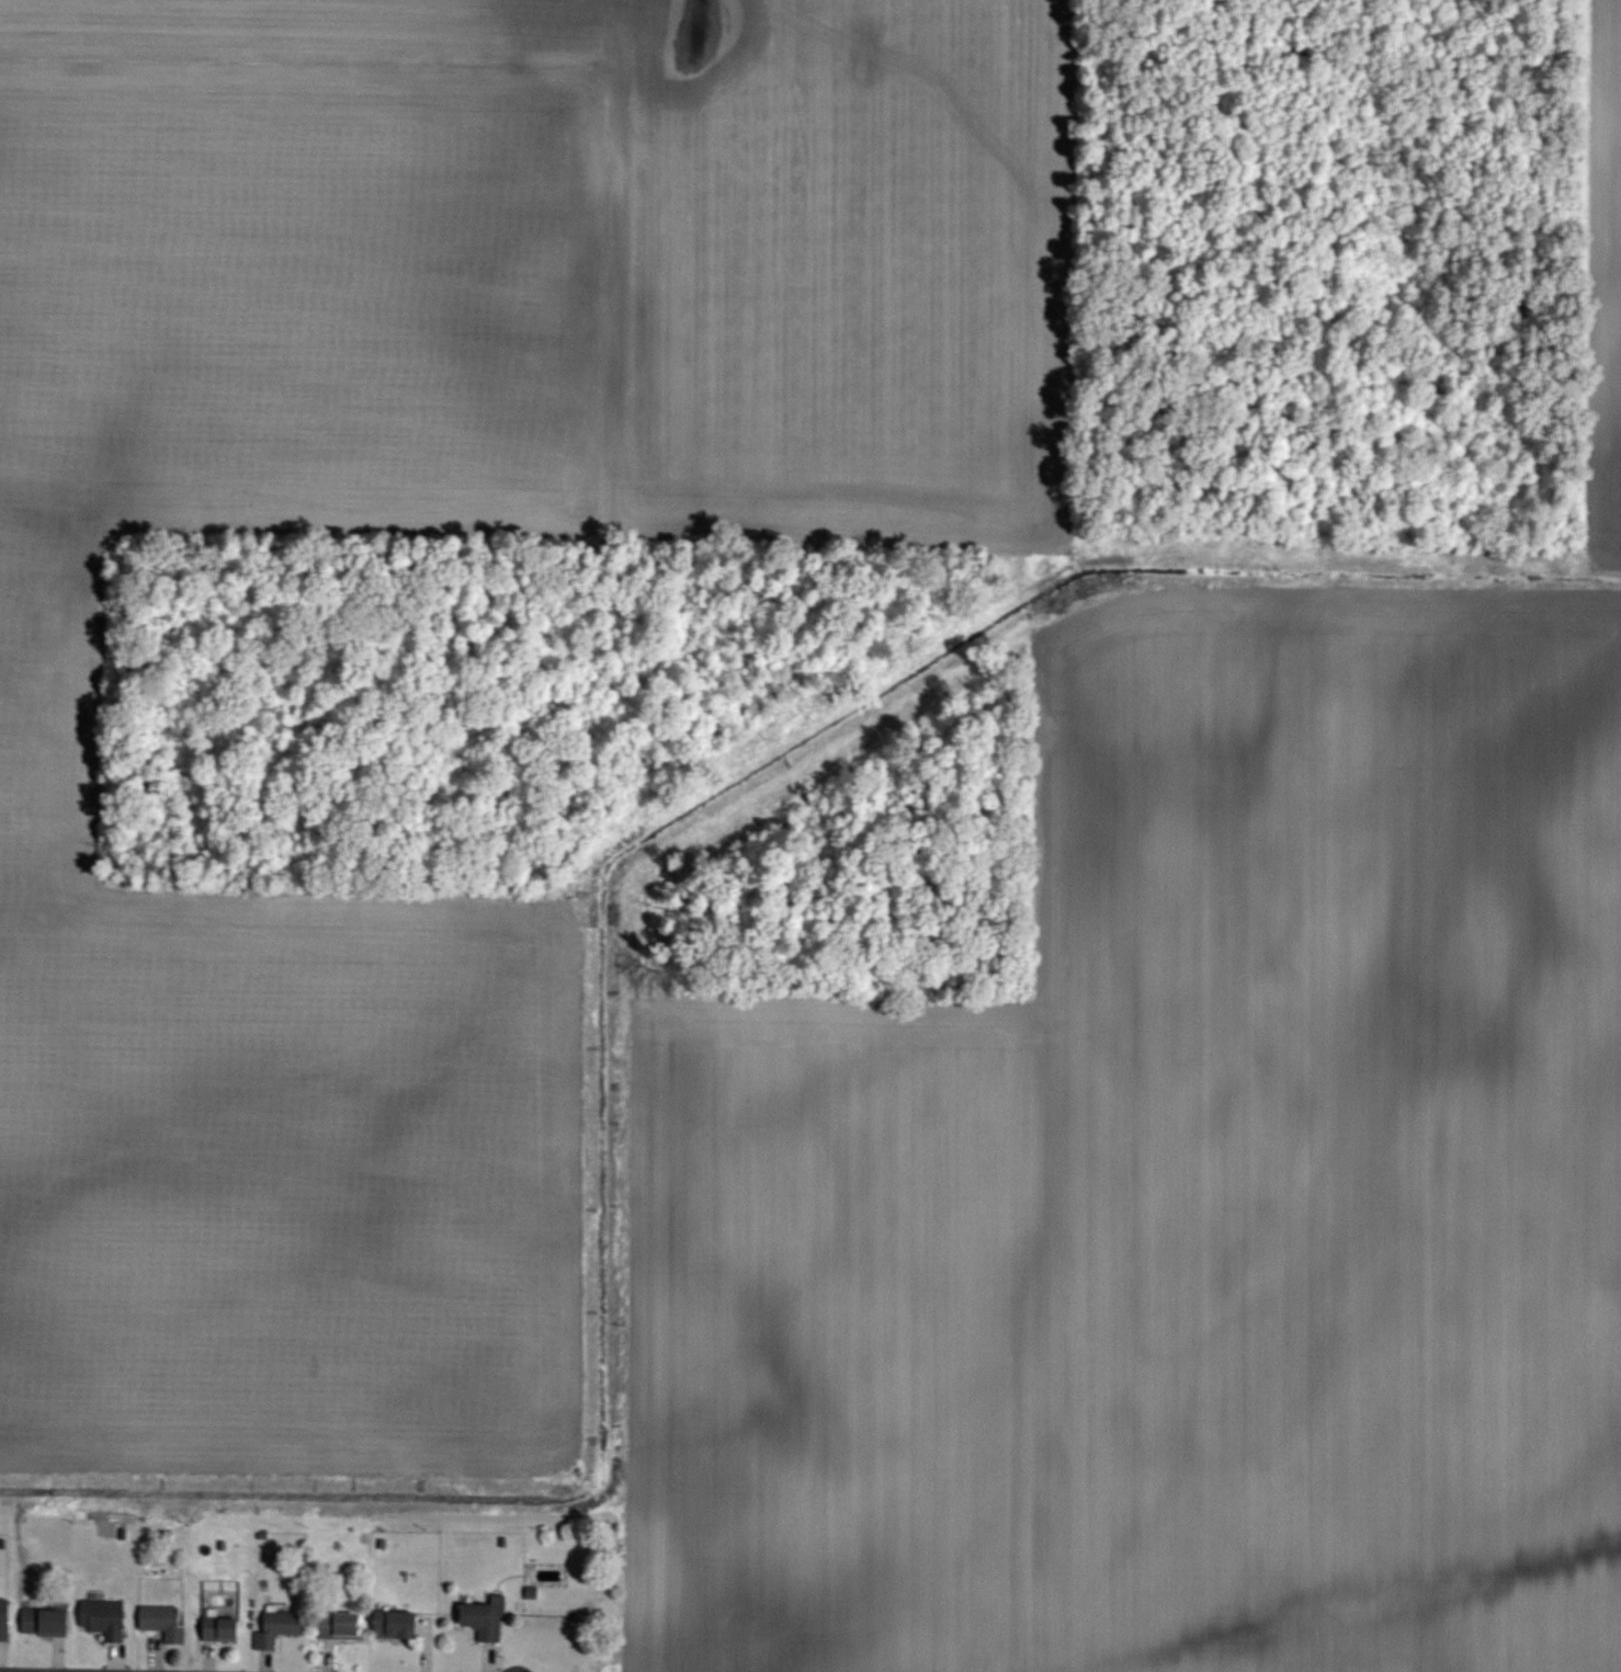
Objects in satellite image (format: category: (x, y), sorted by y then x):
building: (5, 1618)
building: (106, 1619)
building: (488, 1619)
building: (48, 1622)
building: (166, 1622)
building: (342, 1625)
building: (398, 1625)
building: (281, 1628)
building: (225, 1629)

